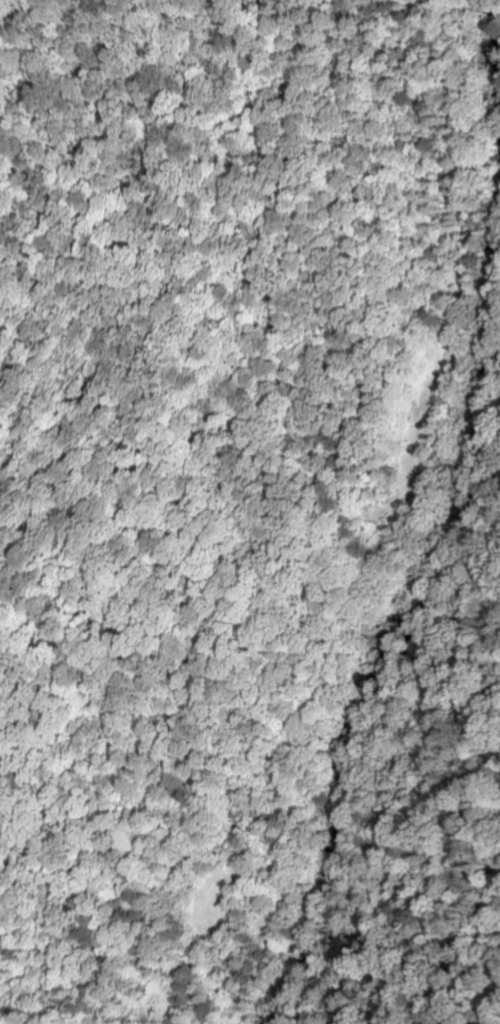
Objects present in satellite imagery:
road: (419, 512)

